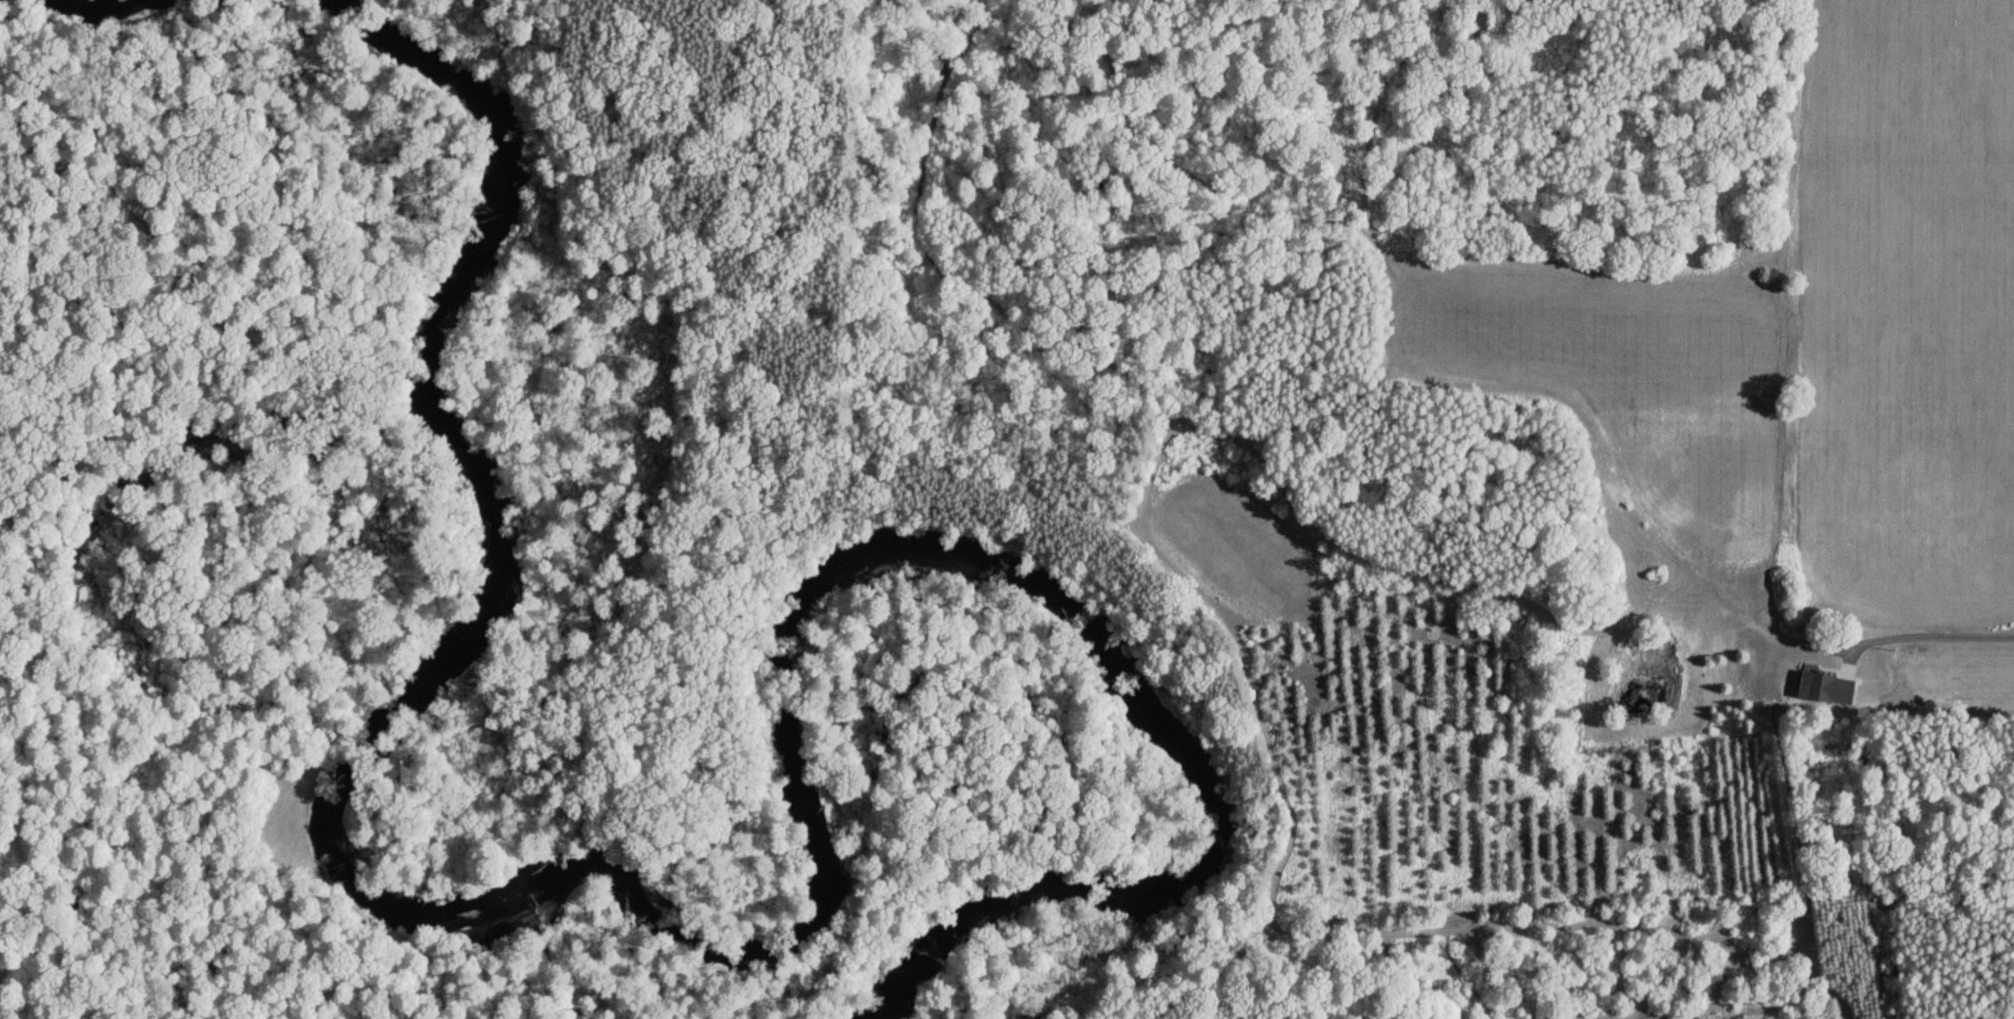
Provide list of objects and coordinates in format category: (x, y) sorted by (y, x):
river: (86, 10)
road: (1804, 640)
river: (708, 938)

